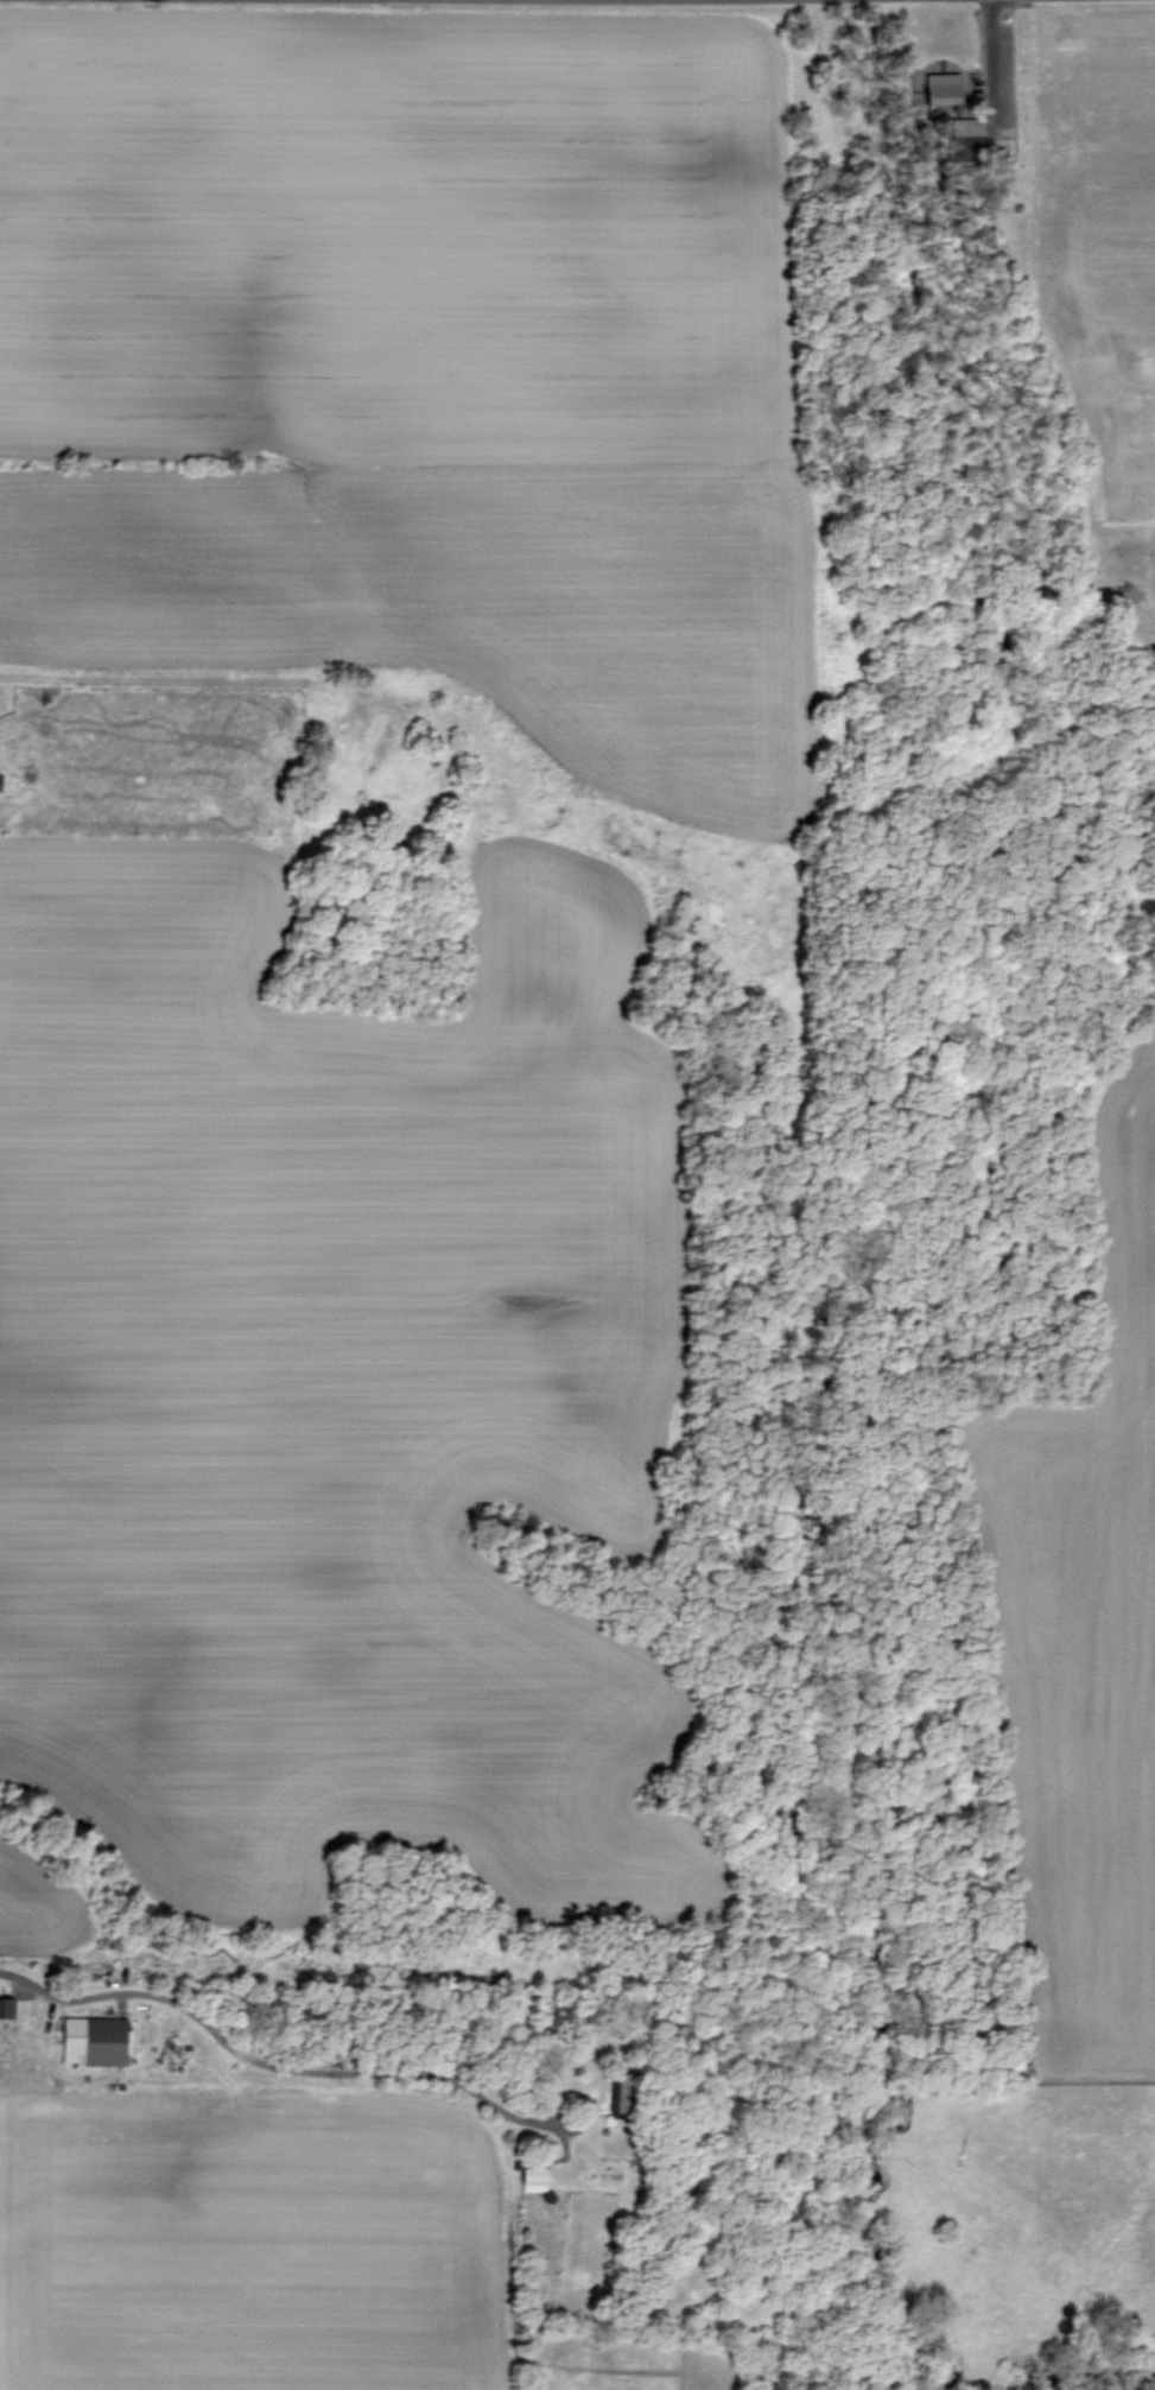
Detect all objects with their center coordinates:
building: (943, 90)
building: (967, 137)
building: (7, 2009)
building: (96, 2043)
road: (275, 2067)
building: (534, 2181)

